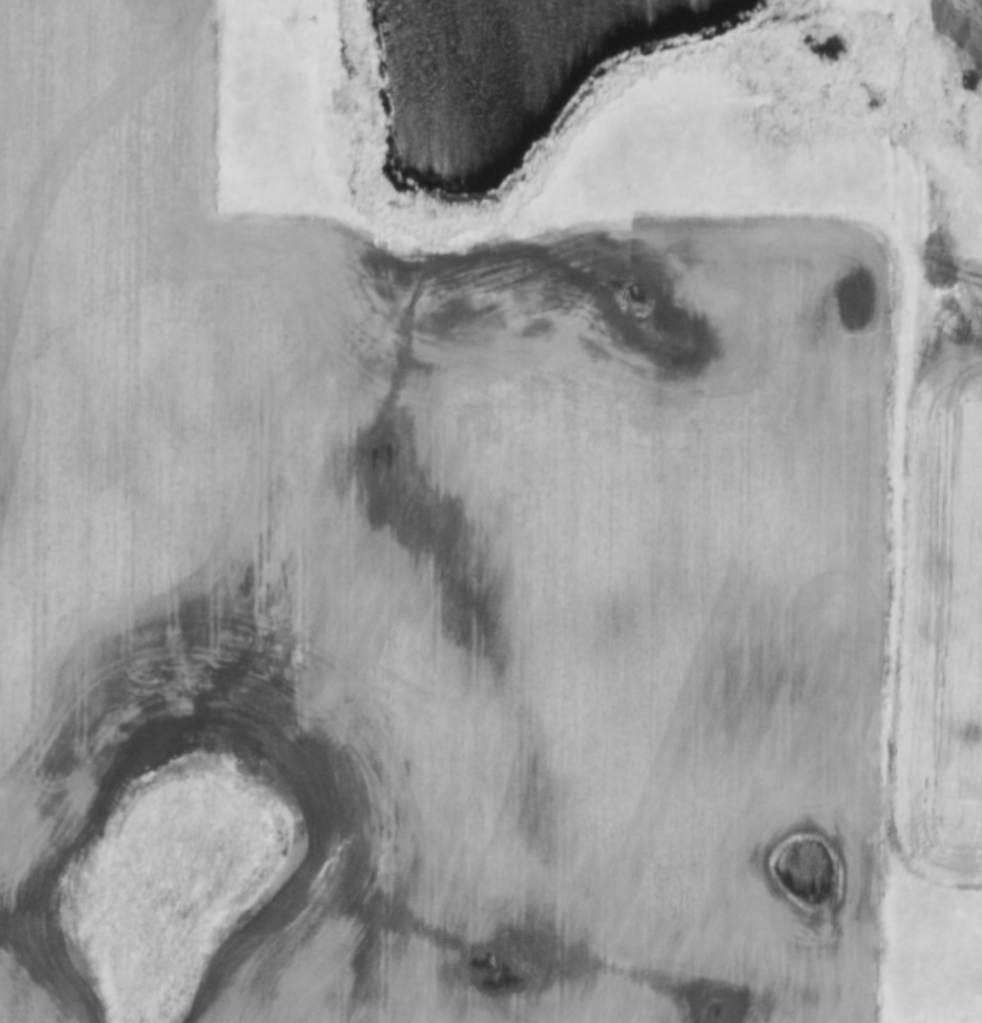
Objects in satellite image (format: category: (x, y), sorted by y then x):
crop: (958, 31)
crop: (942, 571)

